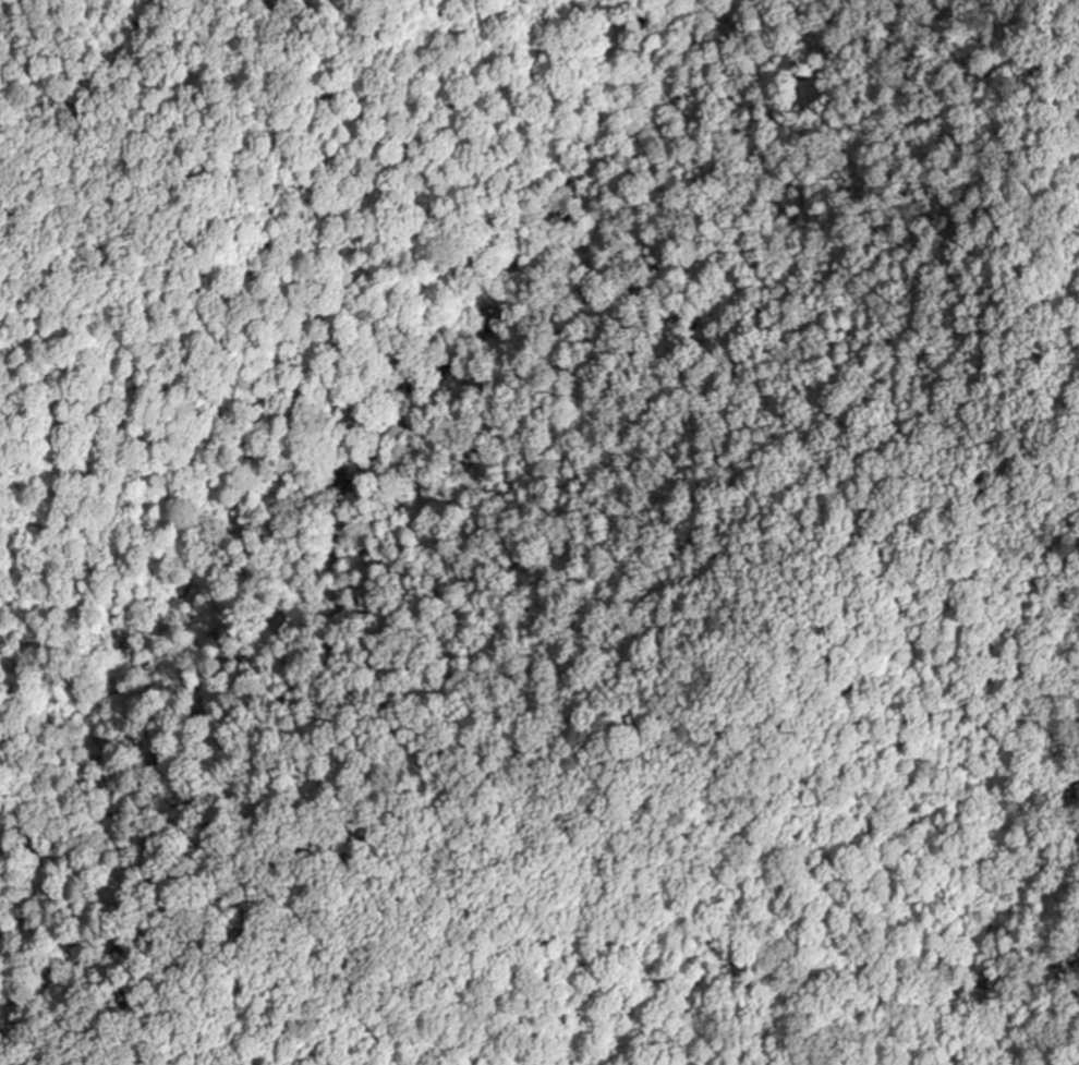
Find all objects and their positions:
road: (775, 983)

